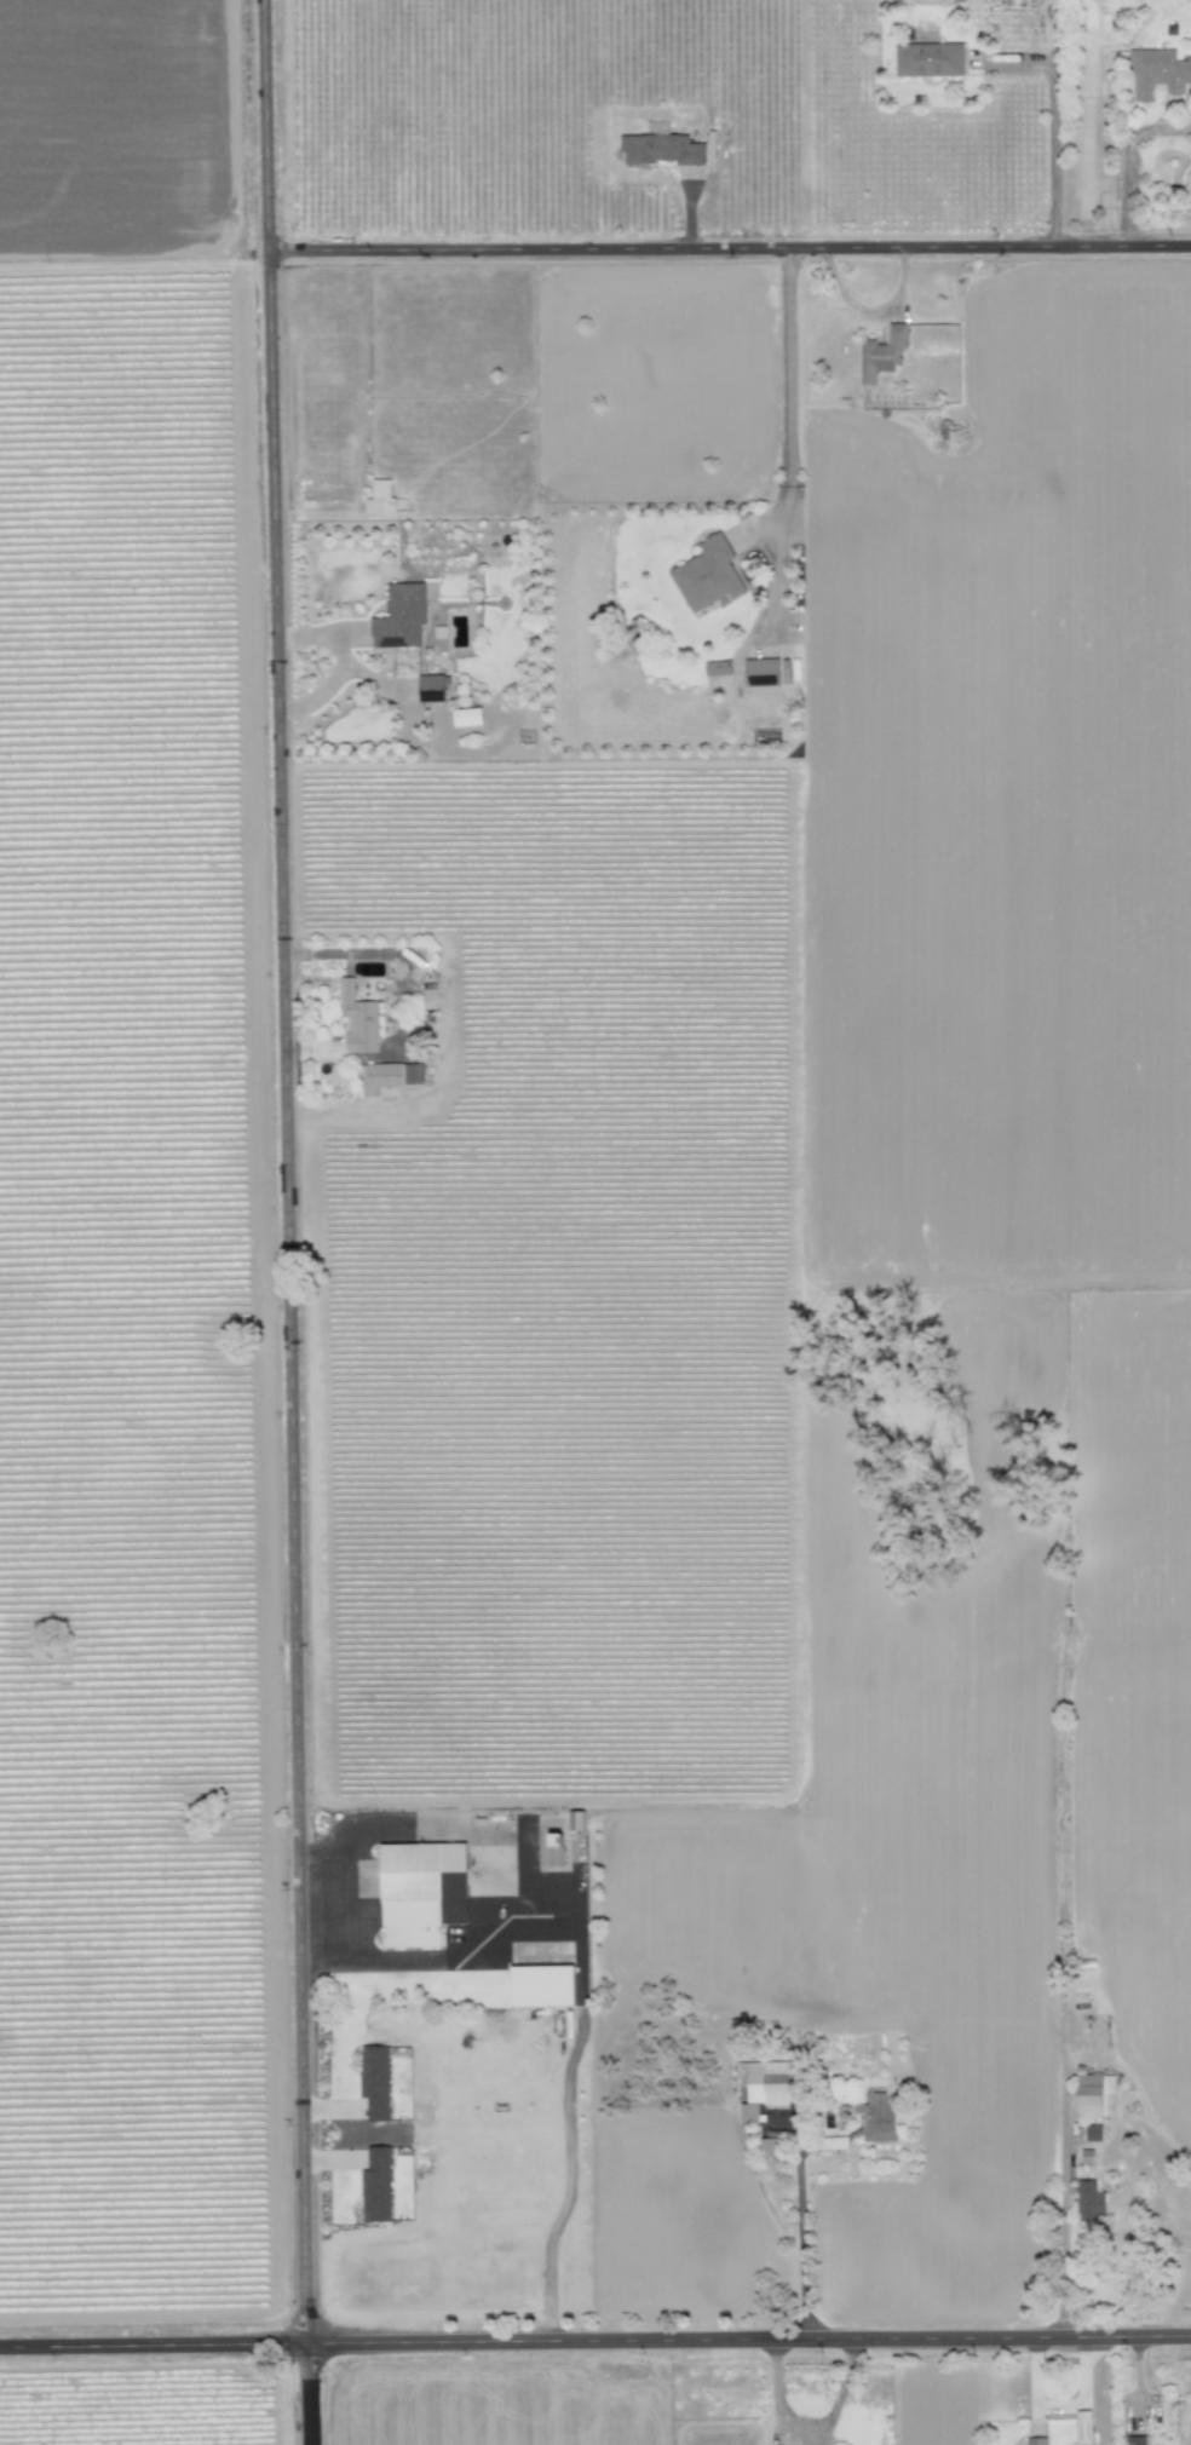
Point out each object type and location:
building: (930, 59)
building: (1157, 73)
road: (1055, 128)
building: (661, 150)
road: (1132, 165)
road: (726, 251)
road: (131, 266)
building: (882, 353)
road: (786, 396)
building: (379, 497)
building: (707, 575)
building: (430, 593)
building: (401, 617)
road: (340, 661)
building: (717, 668)
building: (761, 672)
building: (431, 688)
building: (467, 717)
building: (357, 1019)
building: (389, 1076)
road: (283, 1221)
building: (576, 1820)
building: (553, 1848)
building: (421, 1892)
building: (541, 1986)
building: (375, 2082)
building: (761, 2087)
building: (1094, 2094)
road: (1064, 2106)
building: (879, 2117)
building: (1094, 2133)
building: (769, 2147)
road: (568, 2173)
building: (376, 2184)
building: (1089, 2202)
road: (799, 2237)
road: (594, 2341)
building: (1084, 2427)
building: (1137, 2440)
building: (1036, 2441)

